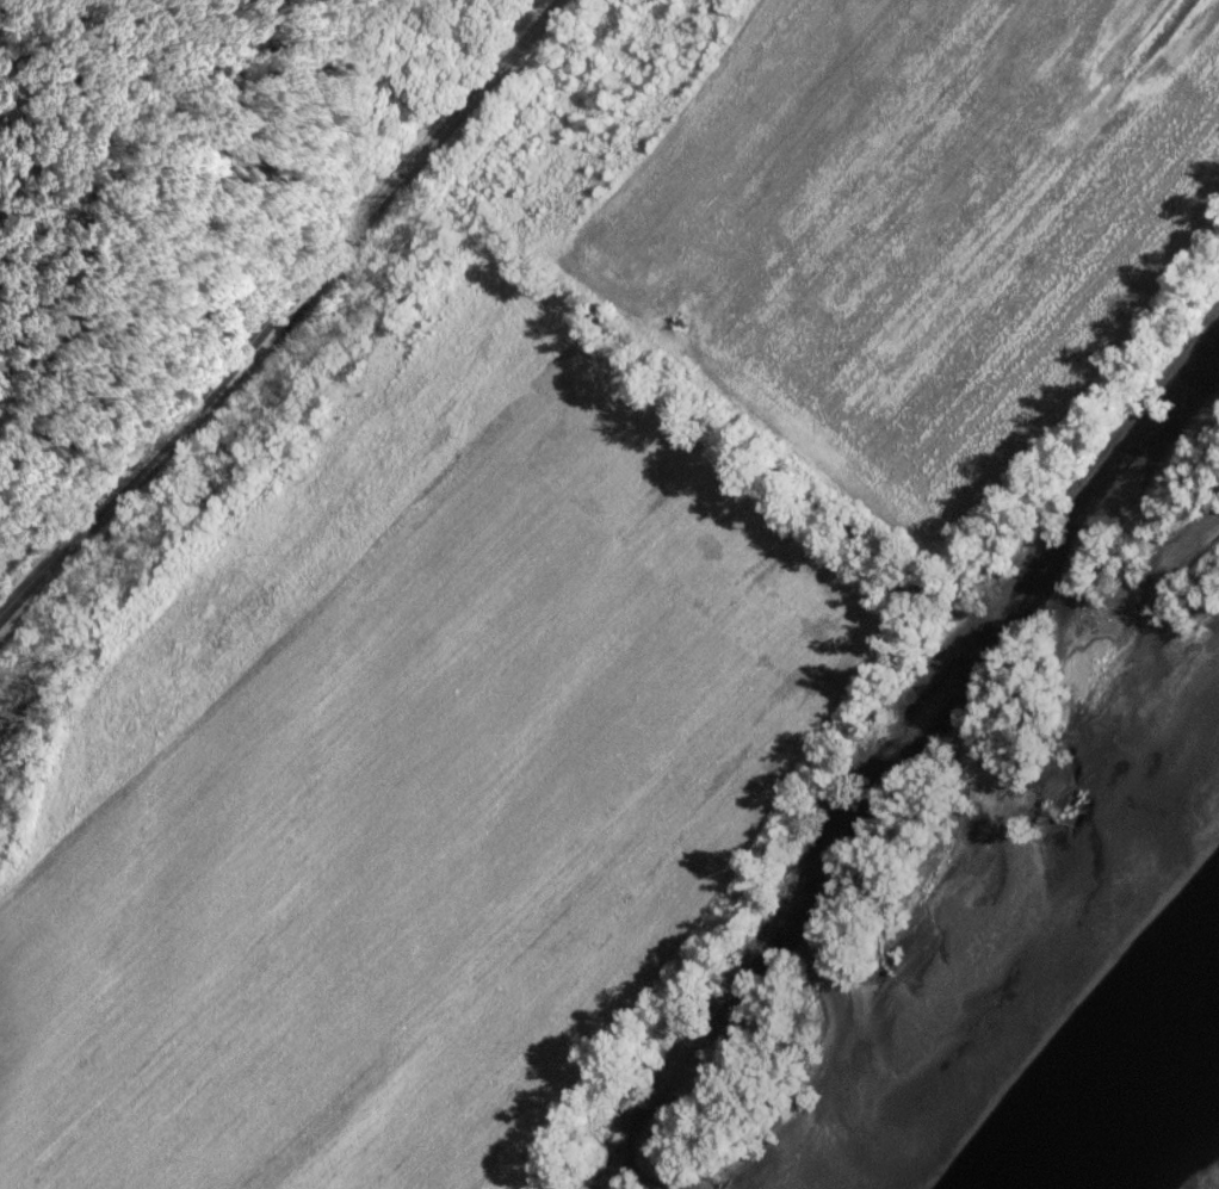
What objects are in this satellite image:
road: (277, 317)
crop: (412, 778)
river: (1190, 1151)

